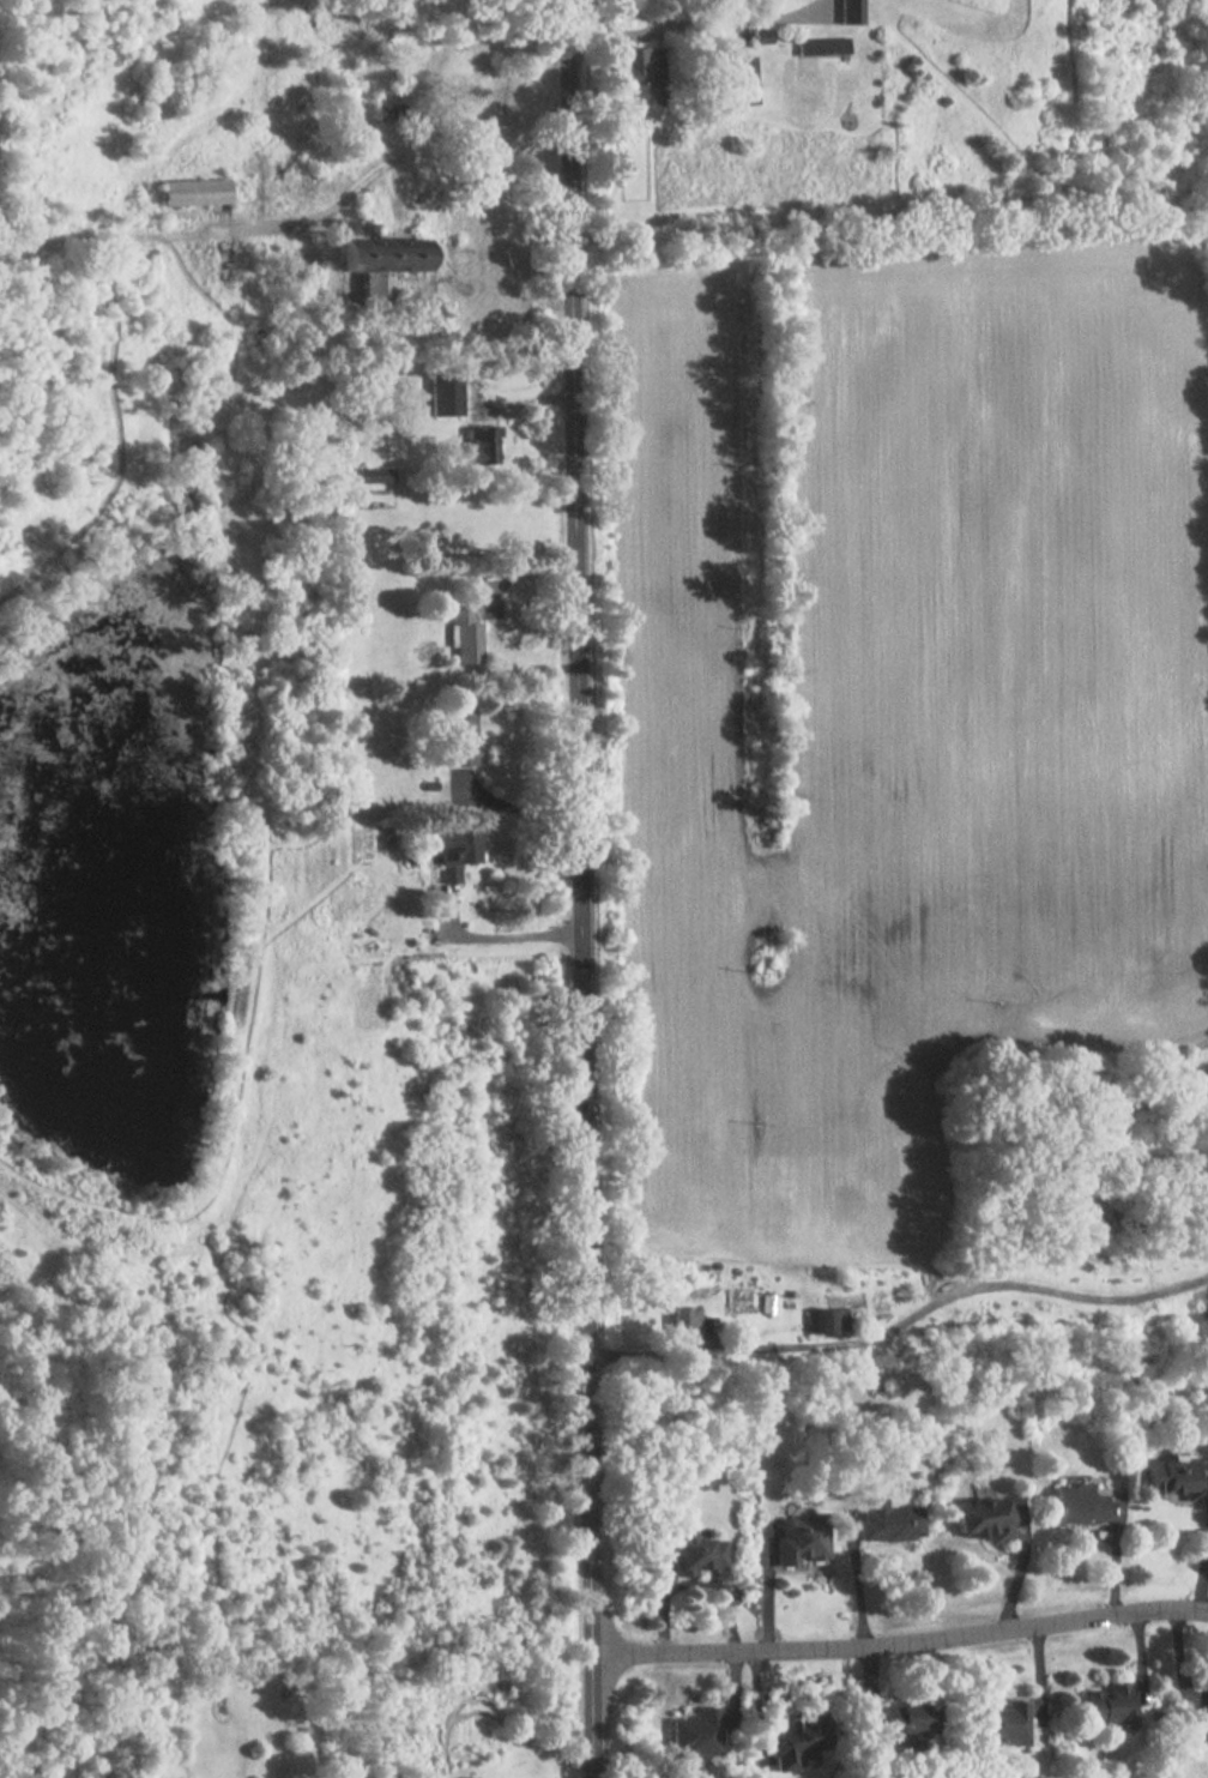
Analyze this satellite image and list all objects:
building: (851, 12)
road: (696, 22)
building: (827, 46)
building: (454, 60)
building: (641, 67)
building: (386, 121)
building: (192, 193)
road: (297, 221)
road: (447, 231)
building: (381, 265)
road: (441, 277)
building: (446, 393)
building: (481, 446)
building: (465, 634)
building: (463, 737)
road: (515, 798)
building: (457, 852)
road: (578, 888)
road: (494, 938)
road: (899, 1318)
building: (825, 1321)
building: (685, 1326)
building: (1174, 1478)
building: (1079, 1501)
building: (983, 1519)
building: (889, 1521)
building: (801, 1538)
building: (696, 1553)
road: (899, 1641)
building: (1110, 1706)
building: (911, 1722)
building: (1003, 1723)
building: (1207, 1729)
building: (696, 1734)

